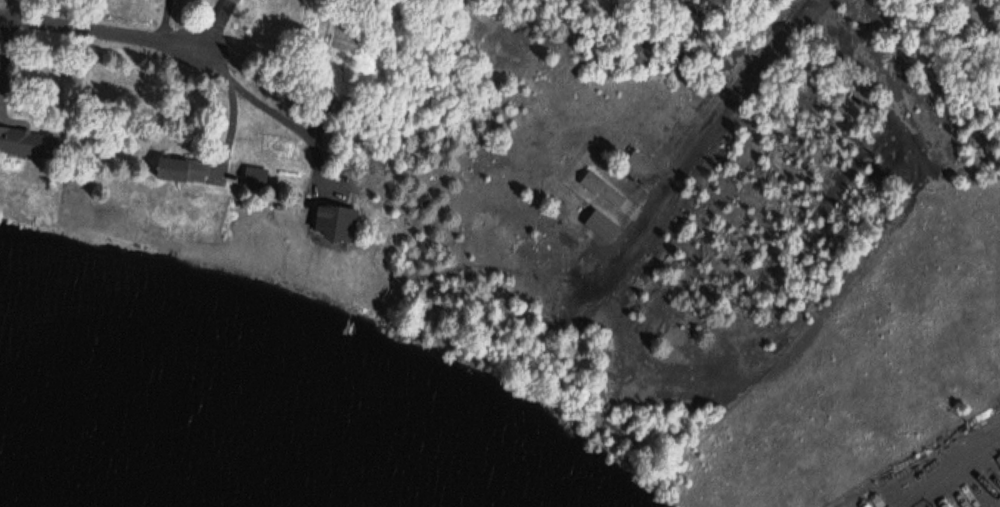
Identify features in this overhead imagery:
building: (239, 0)
building: (229, 1)
road: (167, 16)
road: (108, 24)
road: (220, 26)
road: (234, 103)
road: (294, 120)
building: (27, 144)
road: (709, 150)
building: (179, 169)
building: (254, 175)
building: (595, 187)
building: (608, 187)
building: (337, 219)
building: (597, 224)

